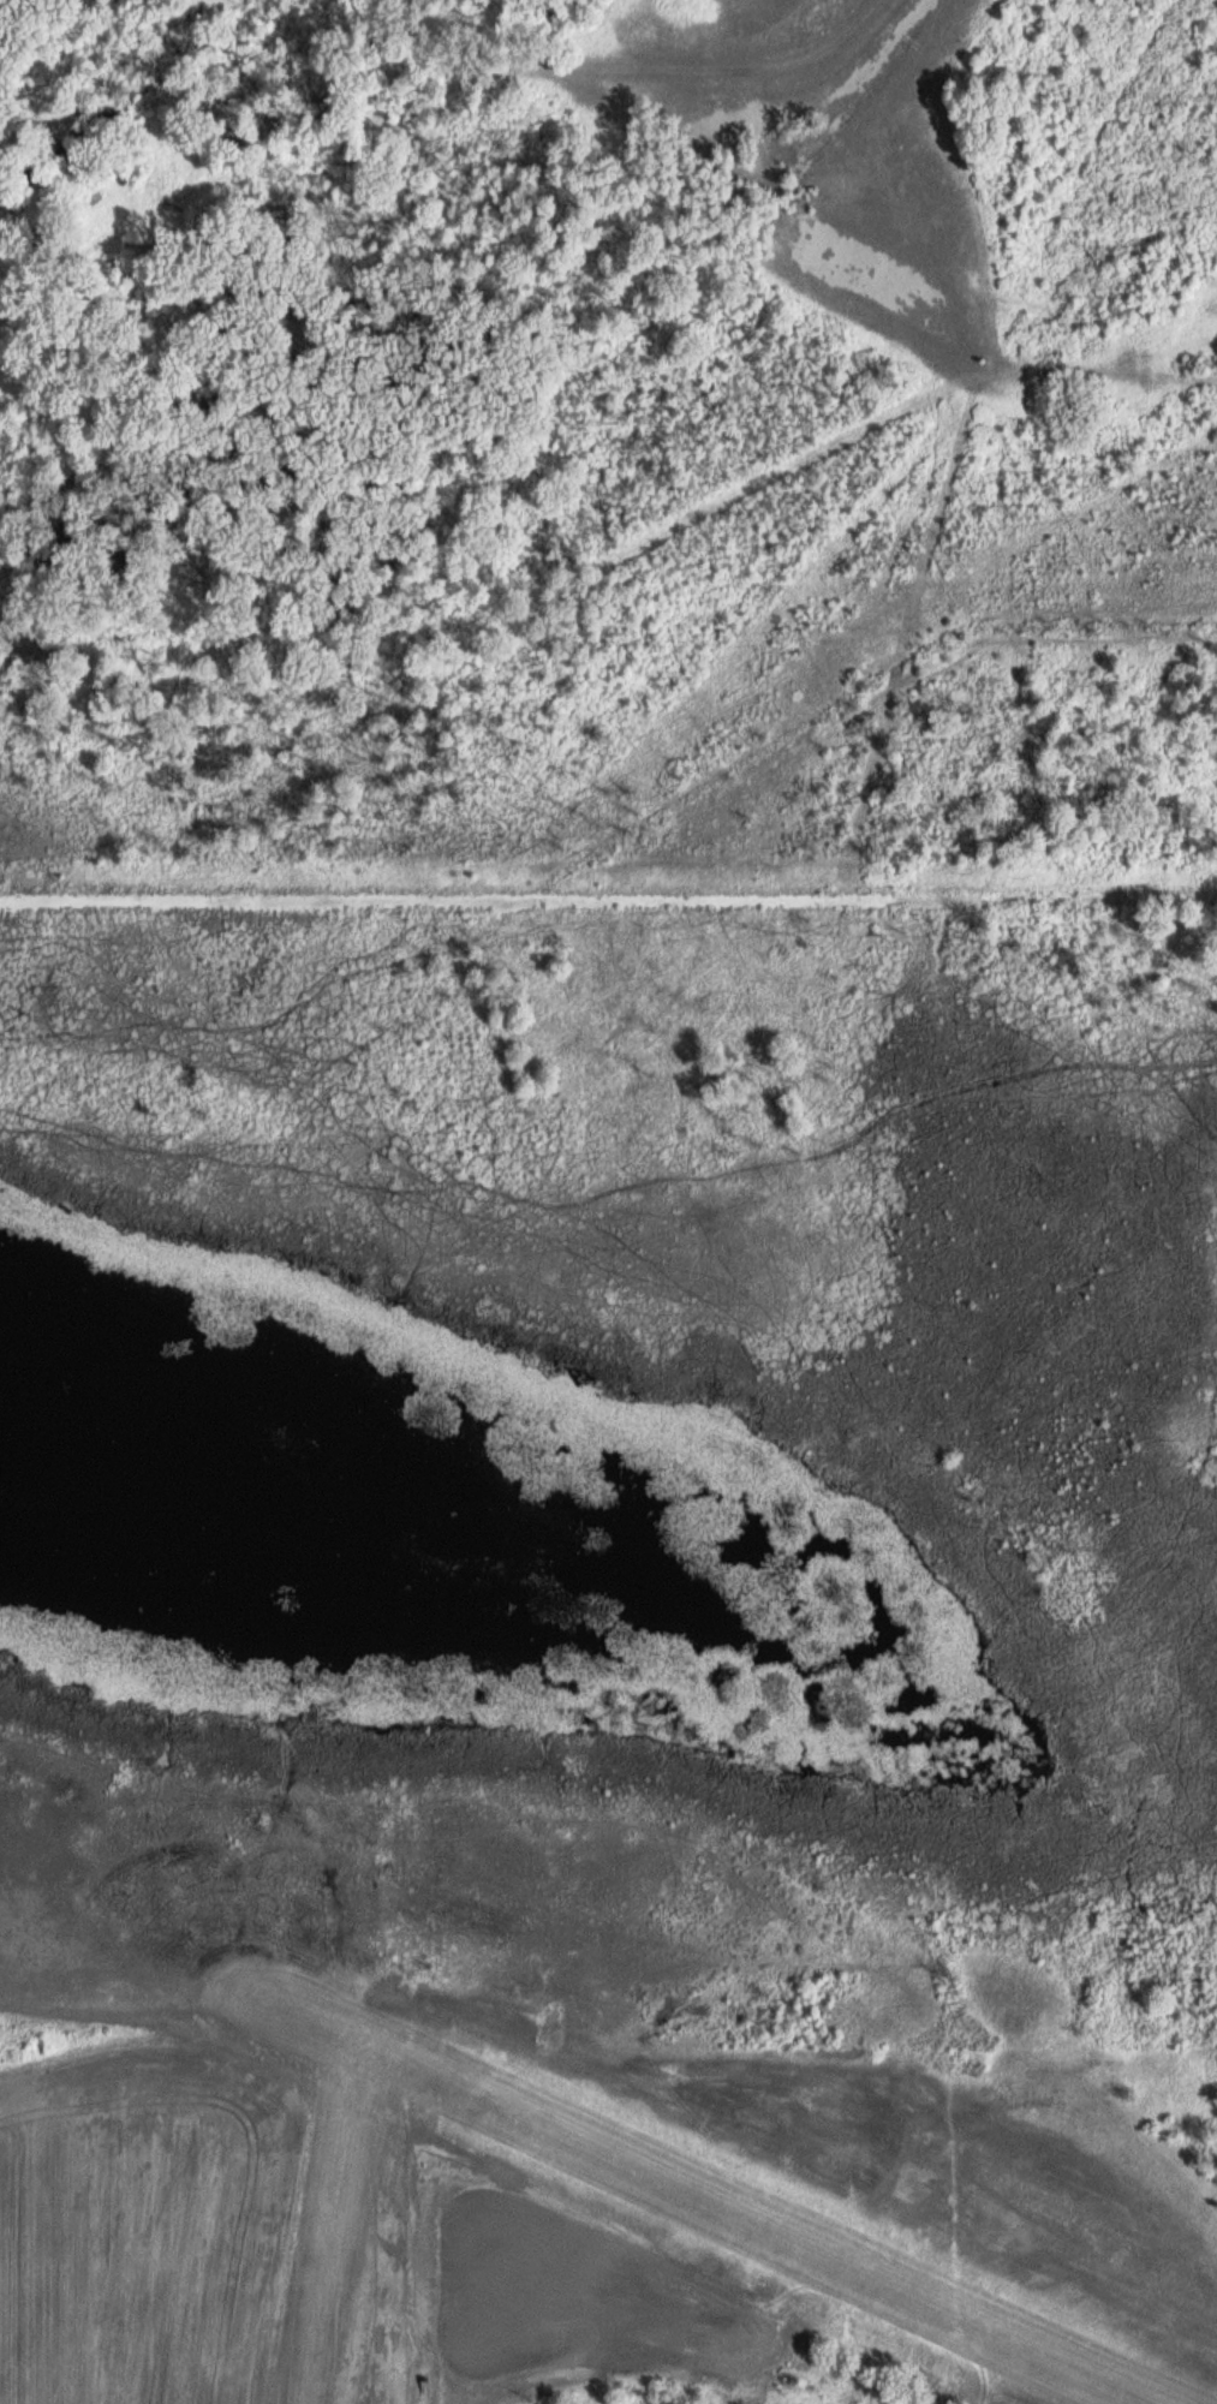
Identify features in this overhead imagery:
road: (437, 114)

